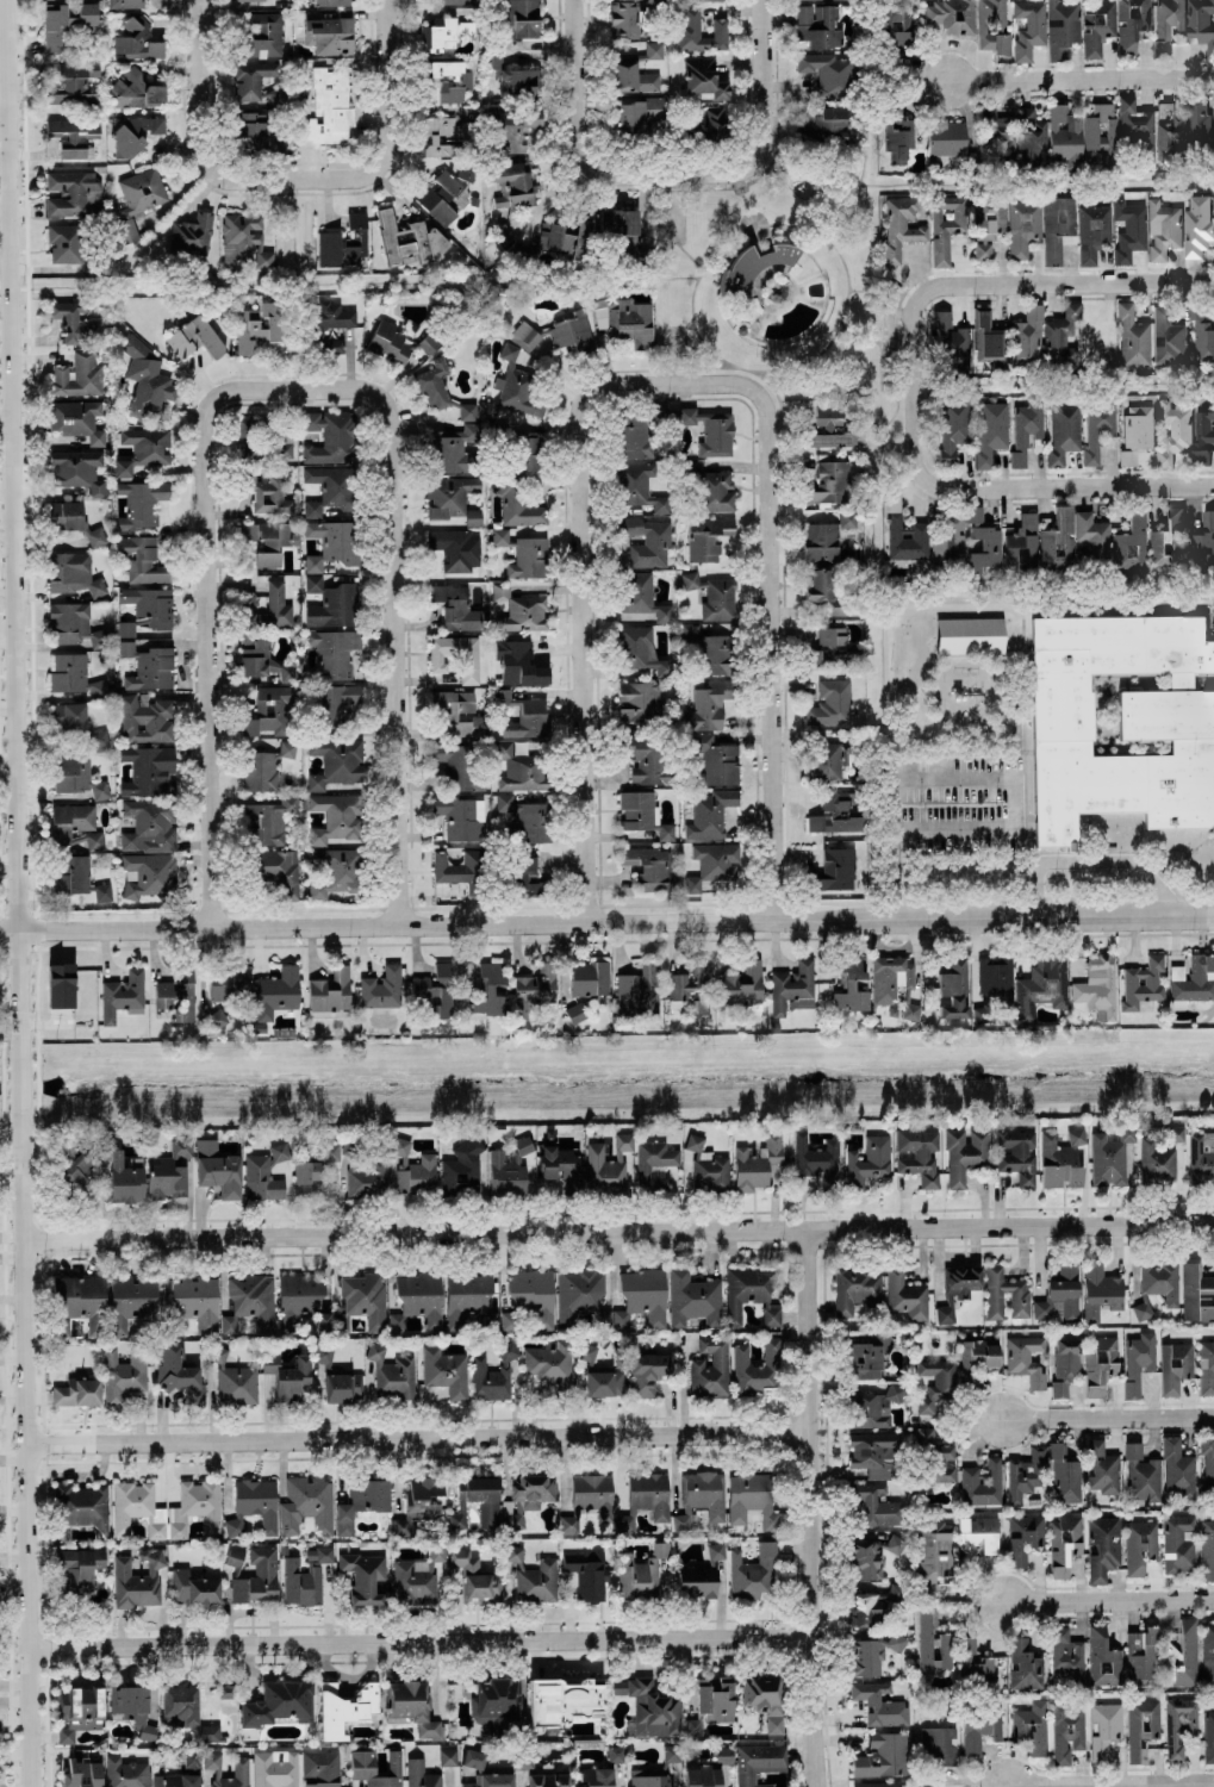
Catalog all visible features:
building: (251, 0)
building: (701, 0)
building: (455, 1)
building: (330, 2)
building: (126, 4)
building: (952, 14)
building: (625, 17)
building: (517, 20)
building: (69, 23)
building: (1132, 23)
building: (1201, 23)
building: (1168, 24)
building: (818, 25)
building: (1097, 25)
building: (994, 26)
building: (897, 27)
building: (1029, 27)
building: (1063, 27)
building: (446, 32)
building: (699, 32)
building: (328, 35)
building: (262, 36)
building: (137, 38)
building: (634, 70)
building: (827, 71)
building: (253, 77)
building: (703, 77)
road: (1081, 79)
building: (512, 80)
building: (462, 82)
building: (75, 83)
building: (136, 91)
building: (279, 94)
building: (329, 107)
building: (636, 118)
building: (1200, 120)
road: (766, 124)
building: (830, 124)
road: (388, 127)
building: (513, 127)
road: (579, 127)
building: (1120, 127)
road: (199, 130)
building: (711, 132)
building: (897, 132)
building: (1000, 133)
building: (1171, 133)
building: (135, 135)
building: (257, 135)
building: (446, 135)
building: (1065, 135)
building: (74, 136)
building: (1032, 136)
building: (946, 138)
building: (466, 174)
building: (513, 183)
building: (74, 194)
building: (138, 198)
building: (443, 198)
building: (989, 216)
building: (1197, 224)
building: (1057, 225)
building: (899, 226)
building: (946, 226)
building: (1023, 226)
building: (1163, 229)
building: (622, 230)
building: (1129, 230)
building: (1092, 231)
building: (503, 234)
building: (191, 239)
building: (244, 239)
building: (409, 239)
building: (70, 241)
building: (344, 242)
building: (558, 243)
building: (983, 250)
building: (95, 266)
building: (747, 270)
road: (1013, 282)
park: (743, 301)
building: (624, 319)
building: (76, 322)
building: (330, 323)
building: (259, 325)
building: (572, 330)
building: (525, 336)
building: (1027, 336)
building: (1064, 336)
building: (1133, 337)
building: (1169, 337)
building: (195, 338)
building: (988, 338)
building: (388, 342)
building: (1203, 342)
building: (428, 343)
building: (952, 344)
building: (79, 375)
building: (147, 380)
building: (434, 382)
building: (517, 385)
building: (468, 411)
building: (829, 416)
building: (77, 419)
building: (1097, 425)
building: (954, 426)
building: (1026, 429)
building: (710, 430)
building: (1173, 430)
building: (990, 431)
building: (1064, 431)
building: (1137, 432)
building: (1203, 432)
building: (330, 436)
building: (633, 437)
building: (832, 438)
building: (144, 448)
building: (452, 448)
building: (527, 452)
building: (79, 469)
building: (829, 481)
road: (1025, 486)
building: (640, 487)
building: (329, 488)
building: (267, 494)
building: (453, 498)
building: (142, 503)
building: (518, 504)
building: (73, 519)
building: (905, 535)
building: (706, 537)
building: (268, 541)
building: (821, 541)
building: (948, 541)
building: (983, 541)
building: (1073, 541)
building: (1183, 541)
building: (647, 542)
building: (331, 543)
building: (1023, 543)
building: (1131, 546)
building: (457, 548)
building: (523, 554)
building: (143, 559)
building: (73, 573)
building: (820, 585)
building: (714, 596)
building: (641, 597)
building: (331, 603)
building: (456, 606)
building: (268, 608)
building: (147, 609)
building: (521, 610)
road: (776, 610)
road: (399, 614)
road: (583, 617)
building: (69, 622)
road: (211, 622)
building: (970, 635)
building: (99, 639)
building: (640, 649)
building: (710, 649)
building: (833, 650)
building: (334, 652)
building: (261, 656)
building: (468, 658)
building: (519, 662)
building: (148, 665)
building: (73, 674)
building: (637, 701)
building: (335, 702)
building: (830, 703)
building: (708, 705)
building: (268, 711)
building: (459, 712)
building: (69, 715)
building: (525, 716)
building: (147, 720)
building: (1121, 721)
building: (100, 739)
building: (716, 758)
building: (832, 758)
building: (646, 759)
building: (336, 761)
building: (456, 765)
building: (264, 767)
building: (521, 768)
building: (149, 771)
building: (77, 776)
building: (639, 810)
building: (710, 814)
building: (835, 814)
building: (335, 816)
building: (461, 816)
building: (528, 817)
building: (269, 821)
building: (71, 823)
building: (150, 824)
road: (1016, 826)
building: (666, 832)
building: (95, 840)
road: (1094, 863)
building: (712, 864)
building: (648, 867)
building: (278, 870)
building: (835, 870)
building: (334, 871)
building: (70, 873)
road: (895, 873)
building: (150, 874)
building: (527, 874)
building: (102, 891)
road: (15, 893)
road: (606, 924)
building: (891, 977)
building: (590, 978)
building: (1194, 978)
building: (996, 982)
building: (1143, 982)
building: (229, 983)
building: (61, 984)
building: (743, 985)
building: (849, 985)
building: (382, 986)
building: (792, 986)
building: (1041, 986)
building: (691, 988)
building: (954, 988)
building: (490, 989)
building: (331, 990)
building: (436, 990)
building: (640, 990)
building: (535, 991)
building: (276, 992)
building: (178, 994)
building: (123, 995)
building: (910, 1010)
building: (575, 1013)
building: (218, 1017)
building: (1175, 1134)
building: (330, 1151)
building: (919, 1153)
building: (964, 1154)
building: (1017, 1154)
building: (1201, 1156)
building: (816, 1158)
building: (1109, 1158)
building: (1062, 1159)
building: (609, 1160)
building: (867, 1160)
building: (1156, 1162)
building: (654, 1163)
building: (757, 1163)
building: (708, 1165)
building: (562, 1166)
building: (218, 1168)
building: (415, 1168)
building: (462, 1169)
building: (509, 1169)
building: (77, 1171)
building: (169, 1171)
building: (264, 1173)
building: (367, 1173)
building: (124, 1175)
building: (309, 1178)
road: (618, 1232)
building: (1160, 1281)
building: (854, 1288)
building: (957, 1289)
building: (1100, 1291)
building: (579, 1293)
building: (751, 1293)
building: (1197, 1293)
building: (1059, 1294)
building: (905, 1295)
building: (534, 1296)
building: (299, 1297)
building: (366, 1297)
building: (466, 1297)
building: (642, 1297)
building: (418, 1299)
building: (693, 1299)
building: (254, 1300)
building: (130, 1301)
building: (80, 1302)
building: (198, 1302)
building: (1020, 1303)
building: (1143, 1310)
building: (509, 1320)
building: (341, 1321)
building: (323, 1322)
building: (229, 1324)
building: (508, 1351)
building: (587, 1352)
building: (323, 1353)
building: (979, 1353)
building: (869, 1355)
building: (1026, 1358)
building: (1139, 1361)
building: (550, 1362)
building: (1100, 1362)
building: (1065, 1364)
building: (1176, 1365)
building: (711, 1366)
building: (758, 1366)
building: (1206, 1366)
building: (446, 1371)
building: (647, 1372)
building: (124, 1374)
building: (179, 1374)
building: (392, 1374)
building: (287, 1376)
building: (234, 1380)
building: (488, 1380)
building: (604, 1383)
building: (936, 1383)
building: (343, 1387)
building: (77, 1391)
building: (873, 1406)
road: (1110, 1419)
building: (924, 1436)
road: (417, 1438)
building: (873, 1453)
building: (944, 1462)
building: (1208, 1463)
building: (1101, 1467)
building: (1178, 1468)
building: (1027, 1474)
building: (1143, 1474)
building: (1065, 1475)
building: (982, 1483)
building: (422, 1490)
building: (530, 1493)
building: (701, 1496)
building: (752, 1498)
building: (590, 1499)
building: (646, 1499)
building: (361, 1501)
building: (877, 1503)
building: (307, 1505)
building: (195, 1506)
building: (254, 1506)
building: (488, 1506)
building: (80, 1507)
building: (137, 1508)
road: (811, 1508)
road: (827, 1508)
building: (513, 1521)
building: (978, 1536)
building: (1023, 1536)
building: (1064, 1543)
building: (1178, 1544)
building: (1140, 1545)
building: (1103, 1546)
building: (934, 1550)
building: (1207, 1550)
building: (716, 1551)
building: (515, 1553)
building: (872, 1555)
building: (236, 1559)
building: (79, 1570)
building: (753, 1571)
building: (587, 1573)
building: (641, 1573)
building: (363, 1575)
building: (305, 1576)
building: (477, 1576)
building: (138, 1579)
building: (257, 1579)
building: (416, 1580)
building: (537, 1581)
building: (697, 1582)
building: (193, 1588)
road: (1109, 1599)
building: (871, 1607)
road: (422, 1642)
building: (933, 1643)
building: (1208, 1652)
building: (872, 1654)
building: (1141, 1654)
building: (1183, 1654)
building: (1067, 1656)
building: (1103, 1658)
building: (975, 1661)
building: (226, 1691)
building: (564, 1700)
building: (765, 1700)
building: (279, 1702)
building: (496, 1704)
building: (880, 1704)
building: (179, 1705)
building: (676, 1705)
building: (412, 1706)
building: (132, 1707)
building: (344, 1707)
building: (77, 1711)
building: (980, 1725)
building: (1179, 1725)
building: (1032, 1726)
building: (1143, 1726)
building: (1106, 1729)
building: (1067, 1730)
building: (208, 1732)
building: (1208, 1736)
building: (936, 1751)
building: (672, 1752)
building: (615, 1754)
building: (724, 1754)
building: (883, 1755)
building: (448, 1756)
building: (473, 1757)
building: (212, 1760)
building: (524, 1760)
building: (191, 1762)
building: (363, 1762)
building: (759, 1762)
building: (275, 1768)
building: (320, 1768)
building: (126, 1773)
building: (235, 1774)
building: (421, 1774)
building: (597, 1776)
building: (702, 1776)
building: (491, 1777)
building: (650, 1777)
building: (176, 1780)
building: (548, 1780)
road: (1113, 1783)
building: (876, 1785)

